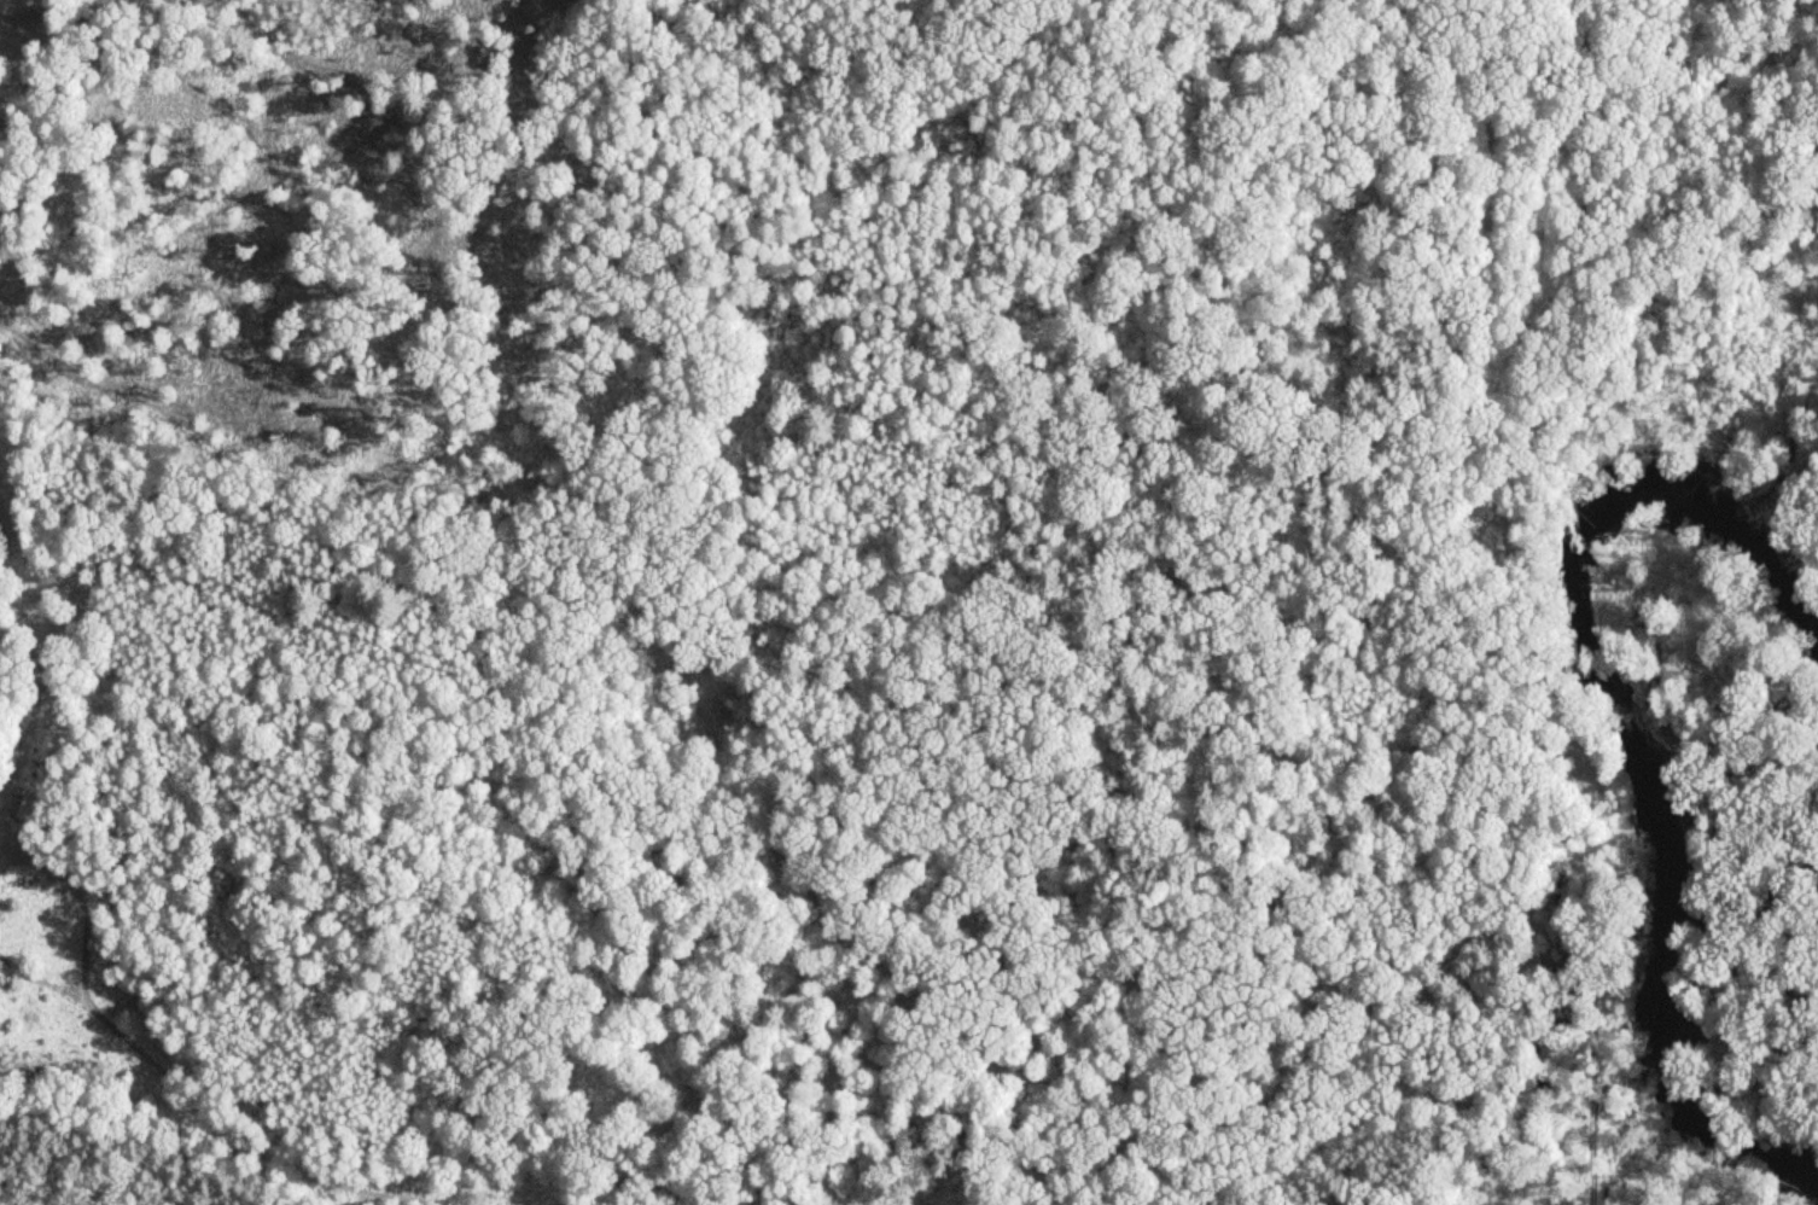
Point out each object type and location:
road: (1513, 606)
river: (1659, 772)
building: (29, 809)

